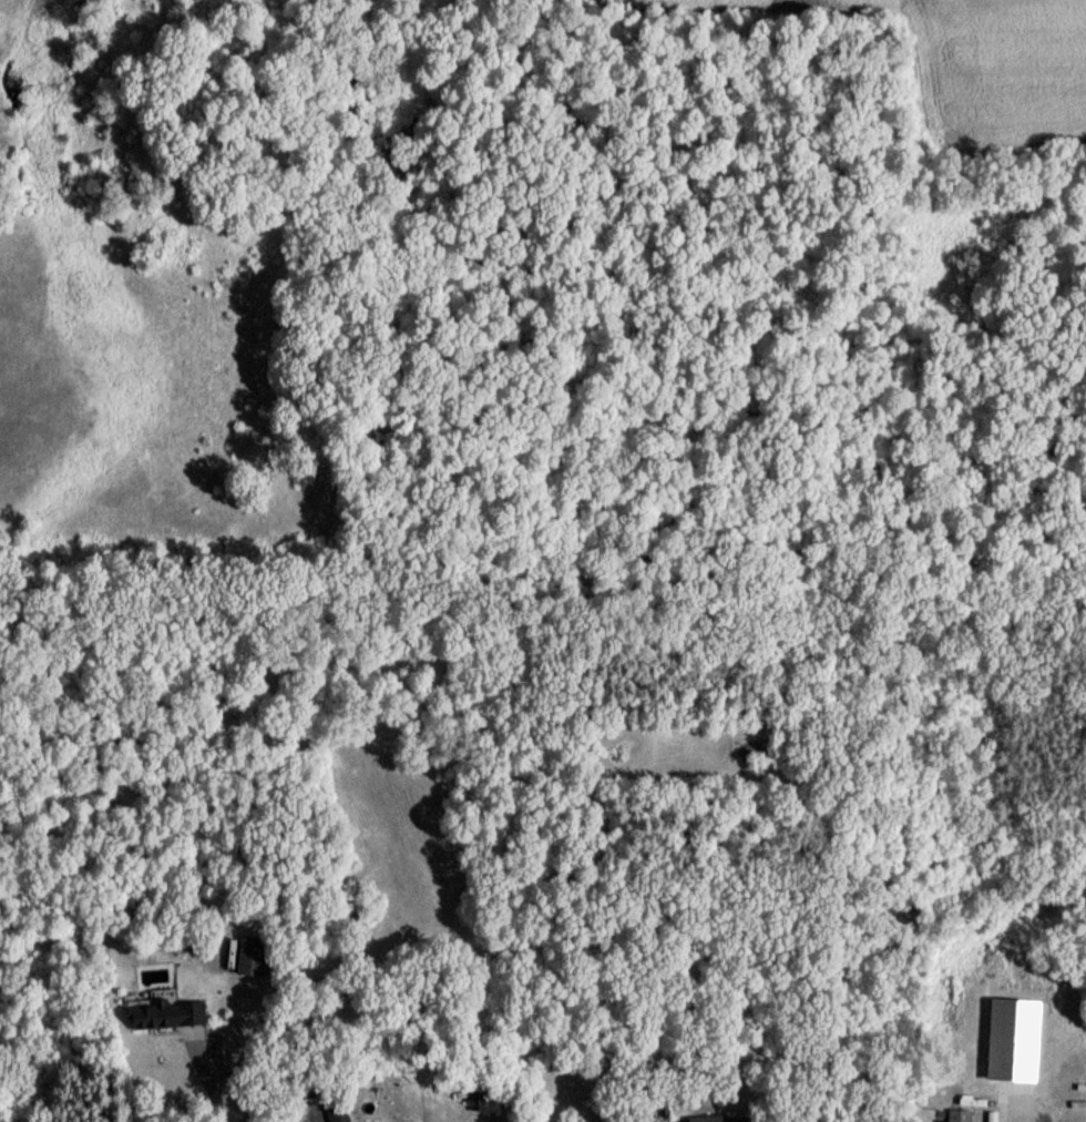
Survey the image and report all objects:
building: (248, 961)
building: (164, 1019)
road: (211, 1087)
building: (486, 1104)
road: (998, 1115)
building: (335, 1118)
building: (956, 1119)
building: (716, 1121)

